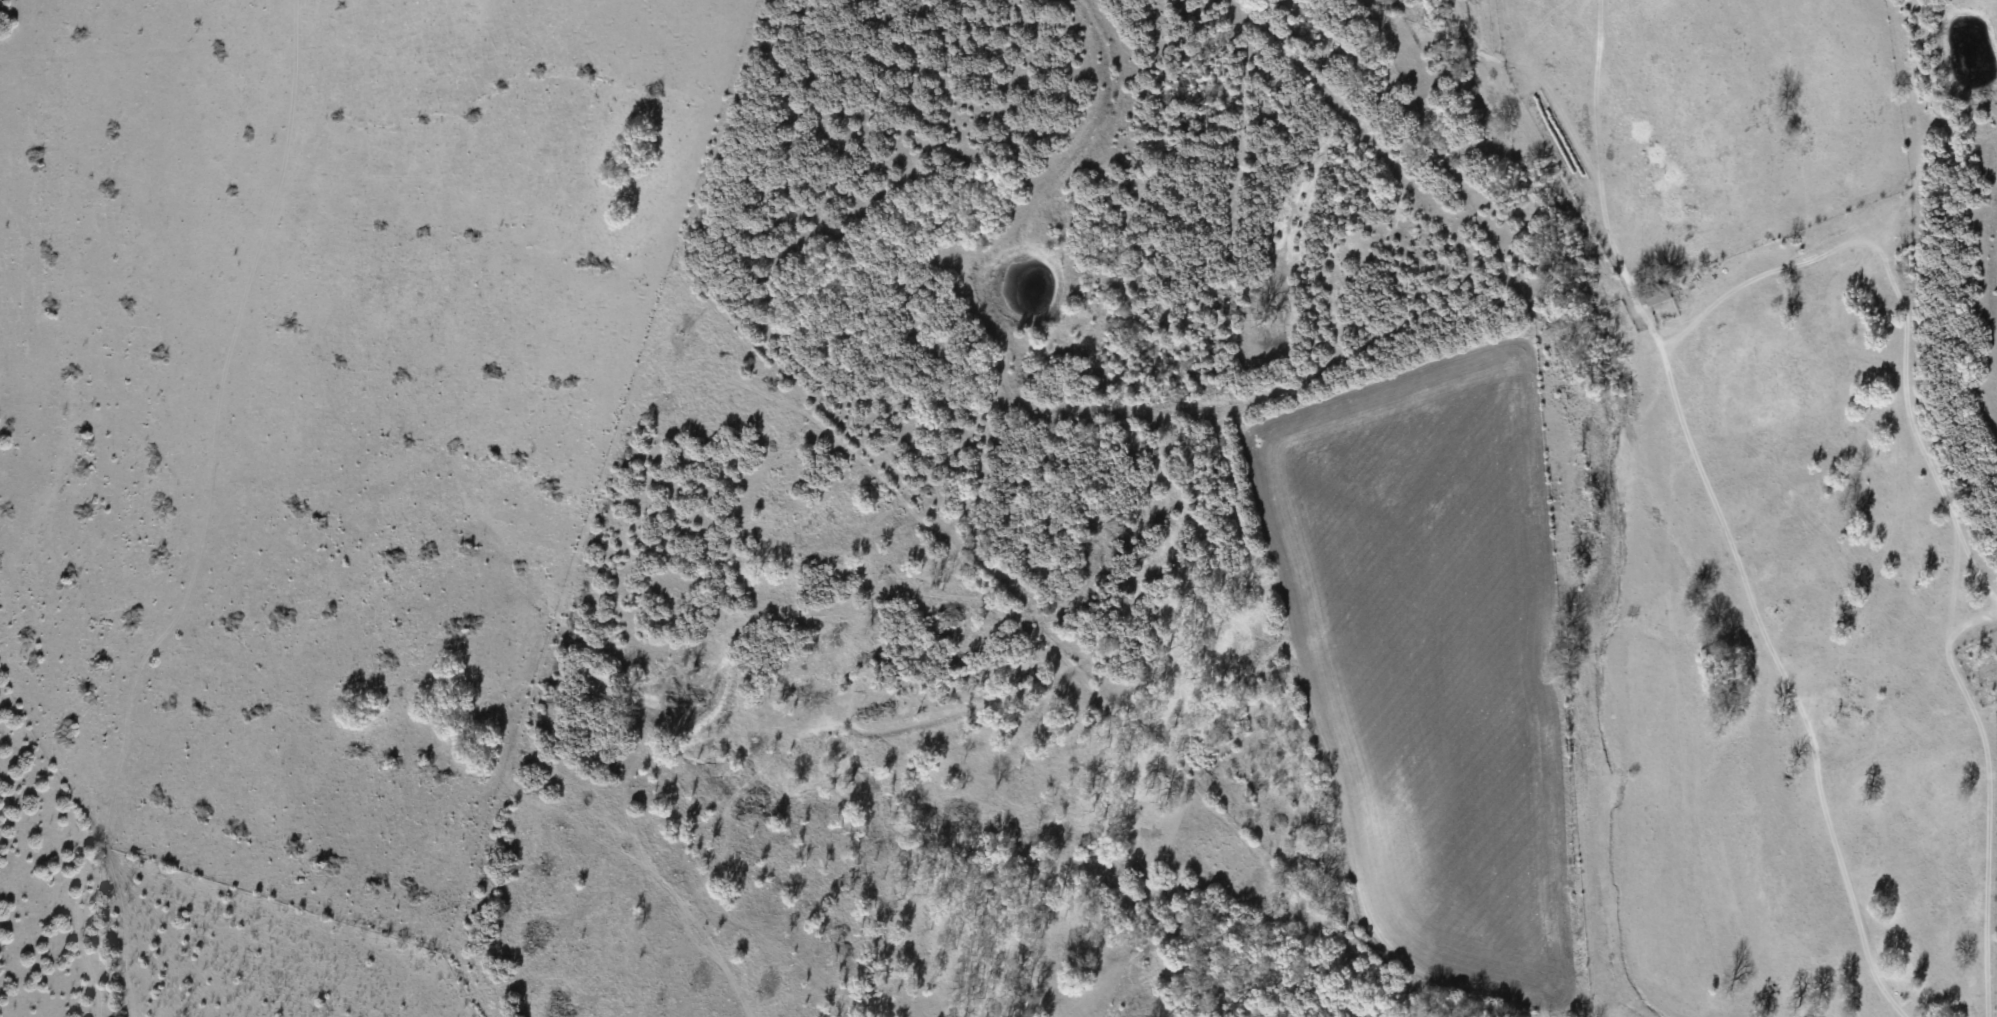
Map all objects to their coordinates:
building: (1661, 294)

